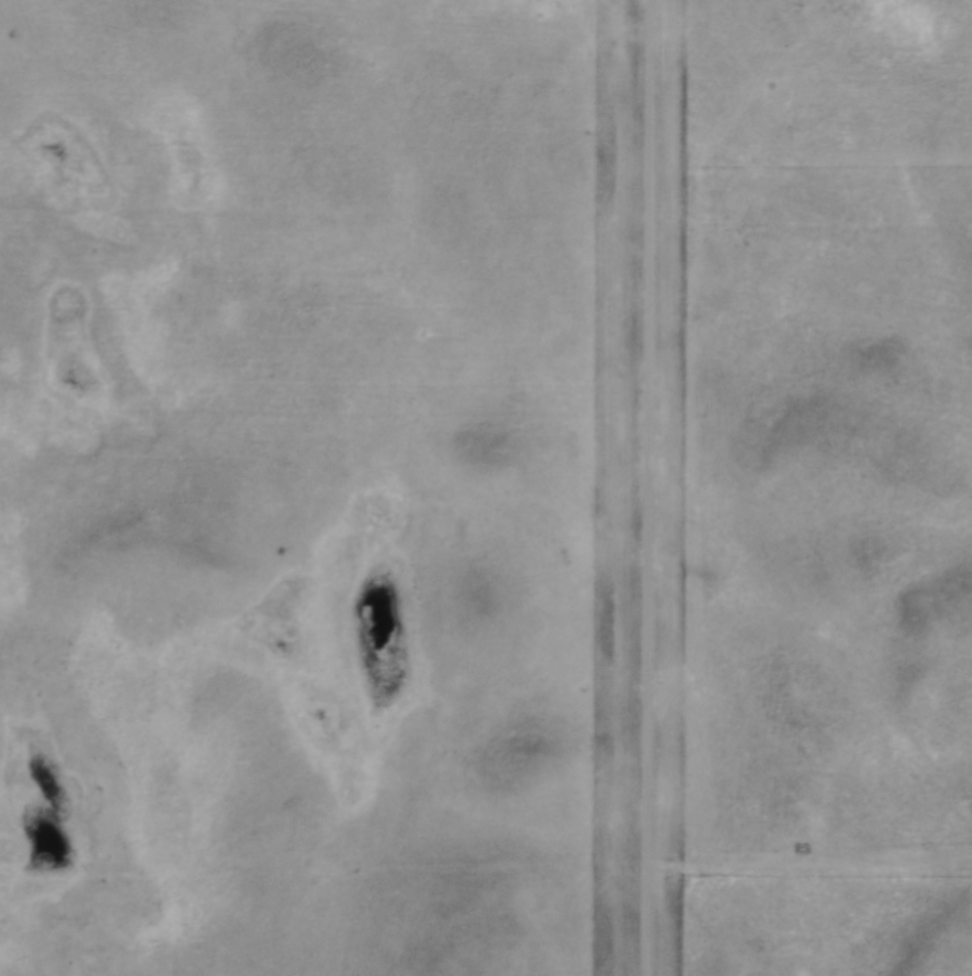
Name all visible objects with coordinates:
road: (653, 488)

